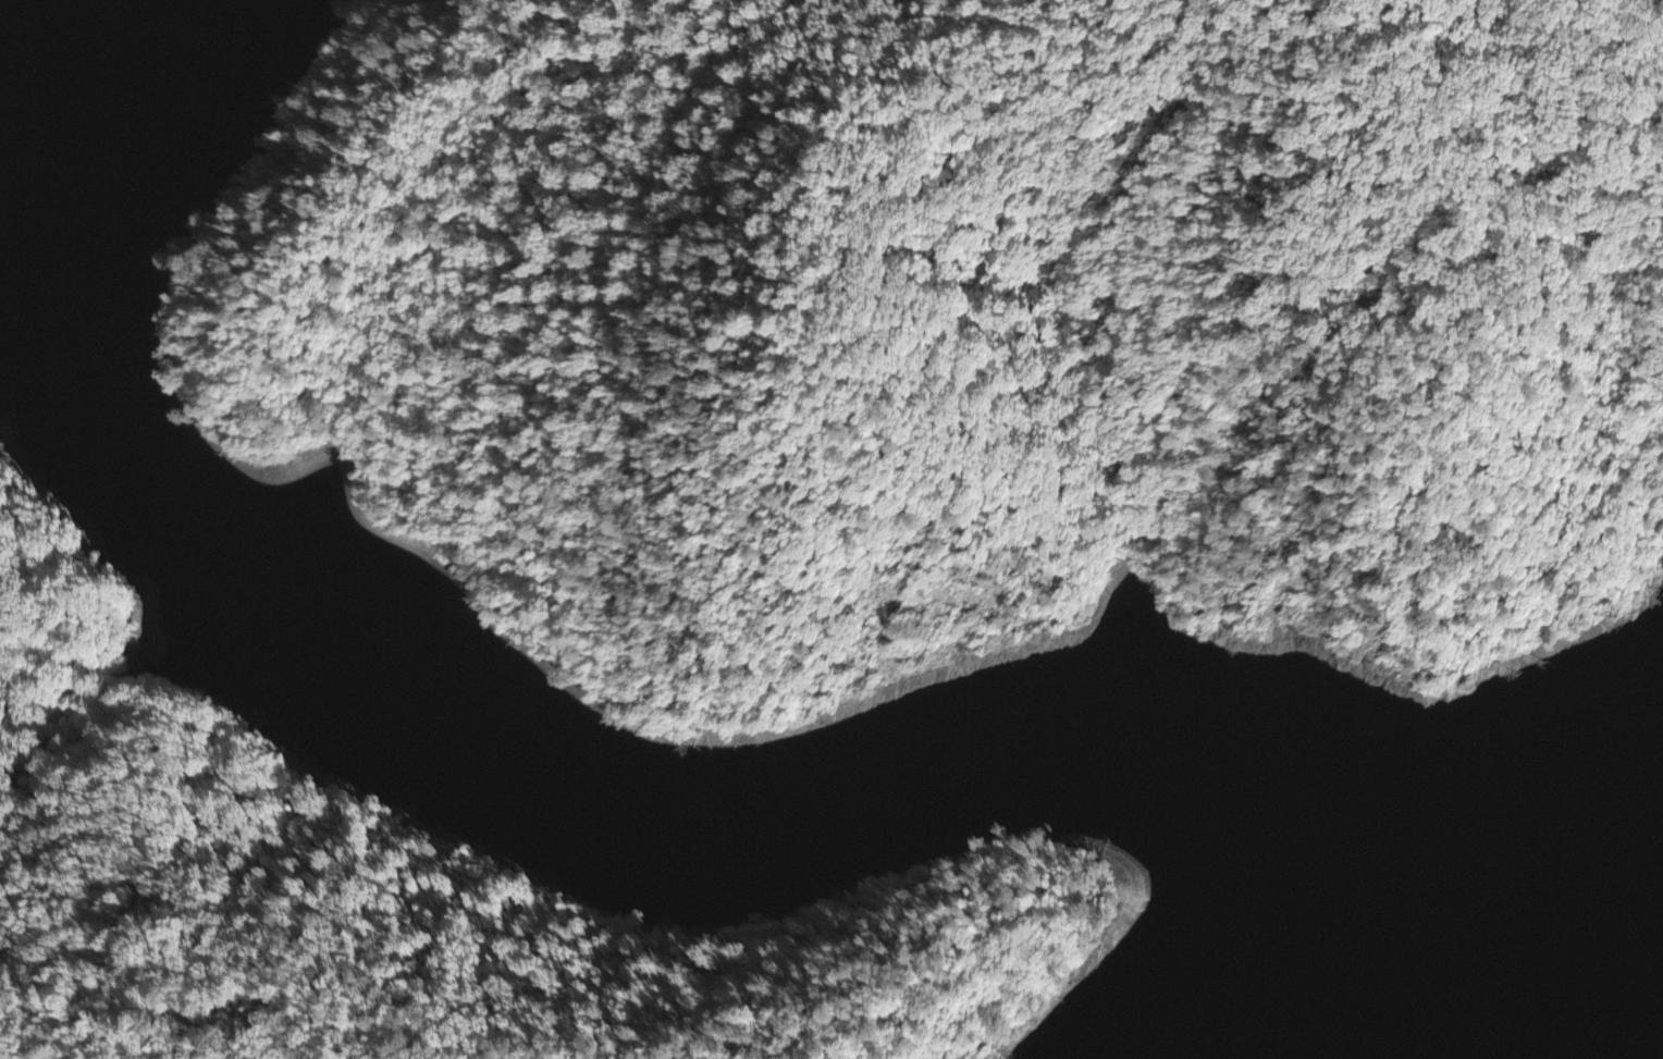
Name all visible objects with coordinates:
river: (1532, 968)
river: (1406, 1056)

